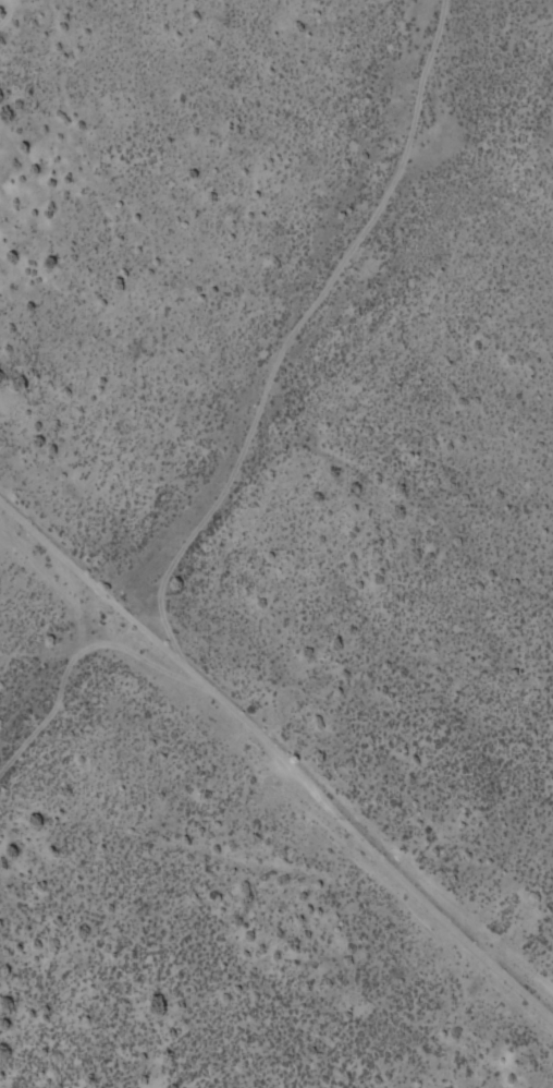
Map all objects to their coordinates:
road: (276, 793)

